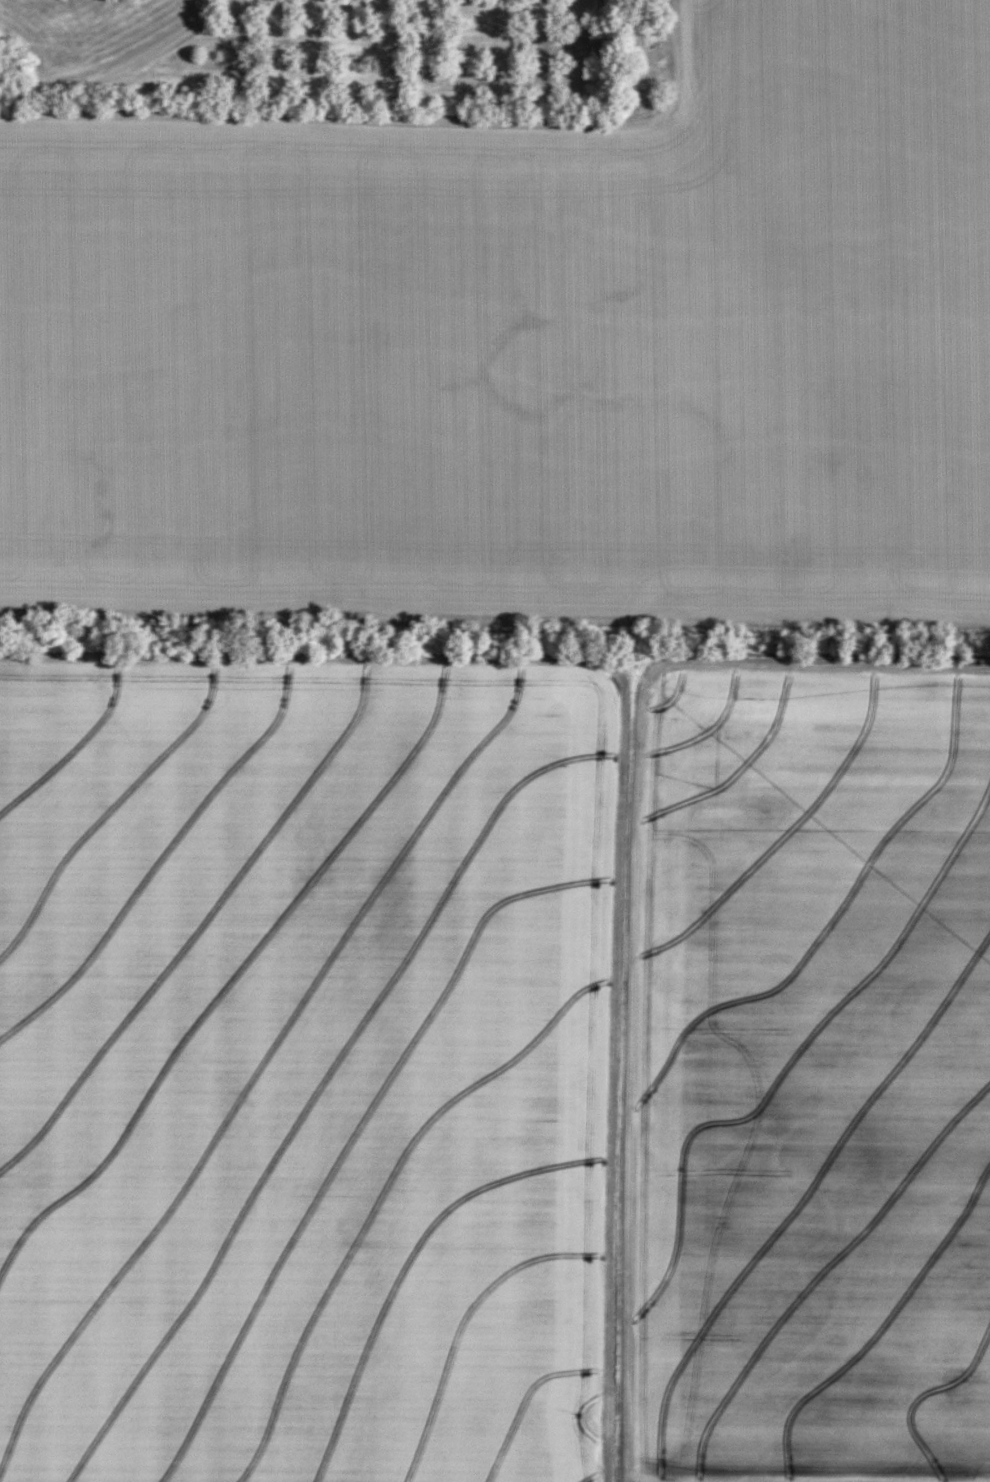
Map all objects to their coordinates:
road: (121, 65)
road: (638, 915)

